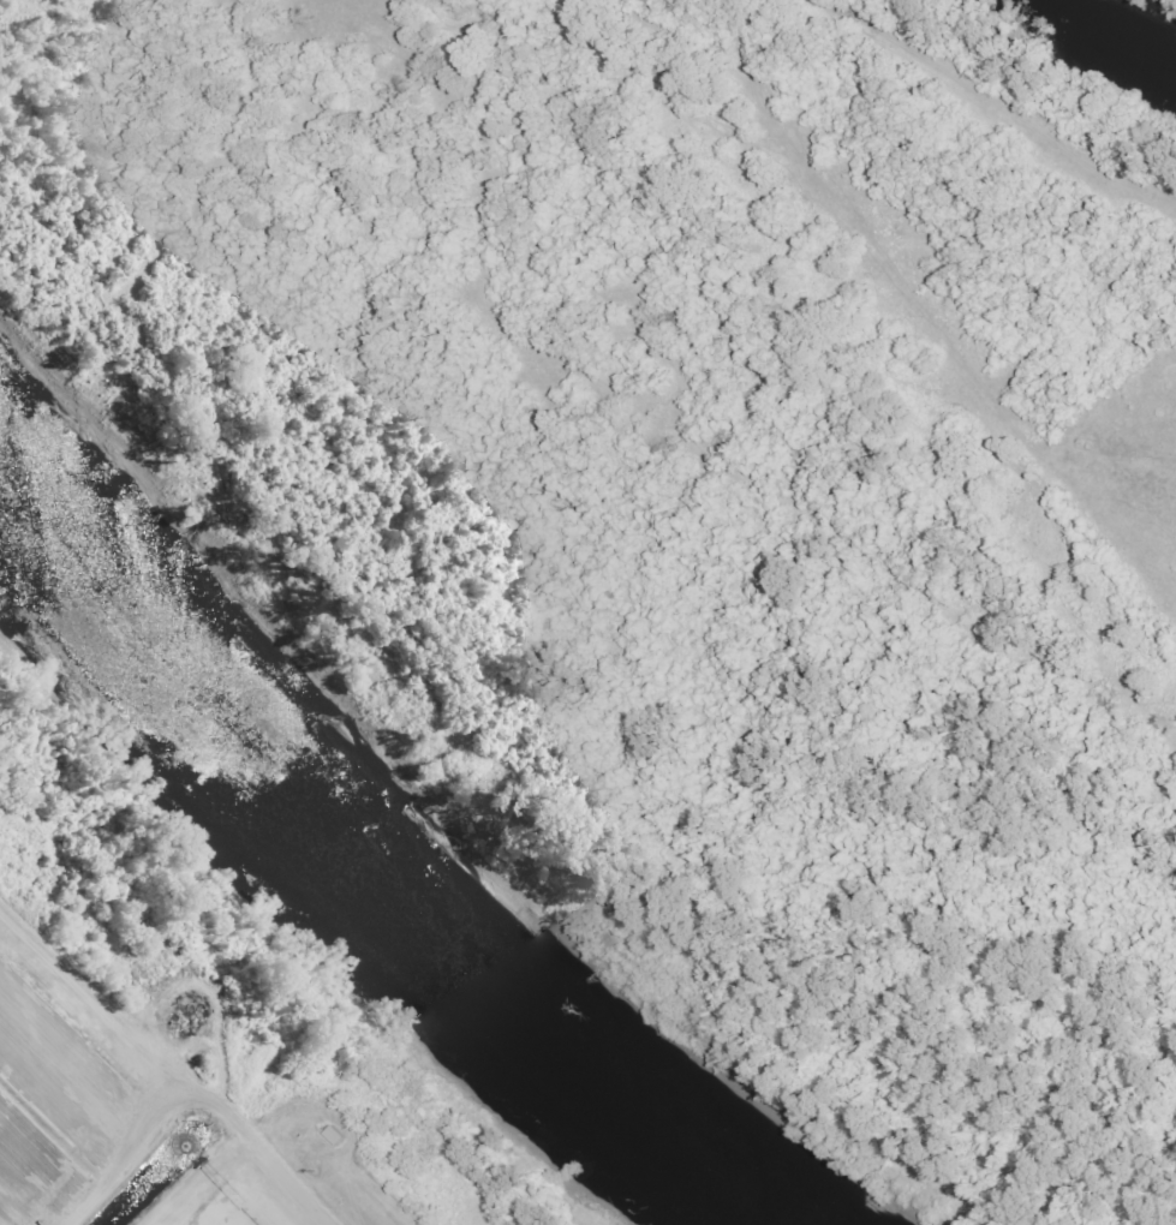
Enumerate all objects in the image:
river: (414, 815)
road: (196, 1094)

